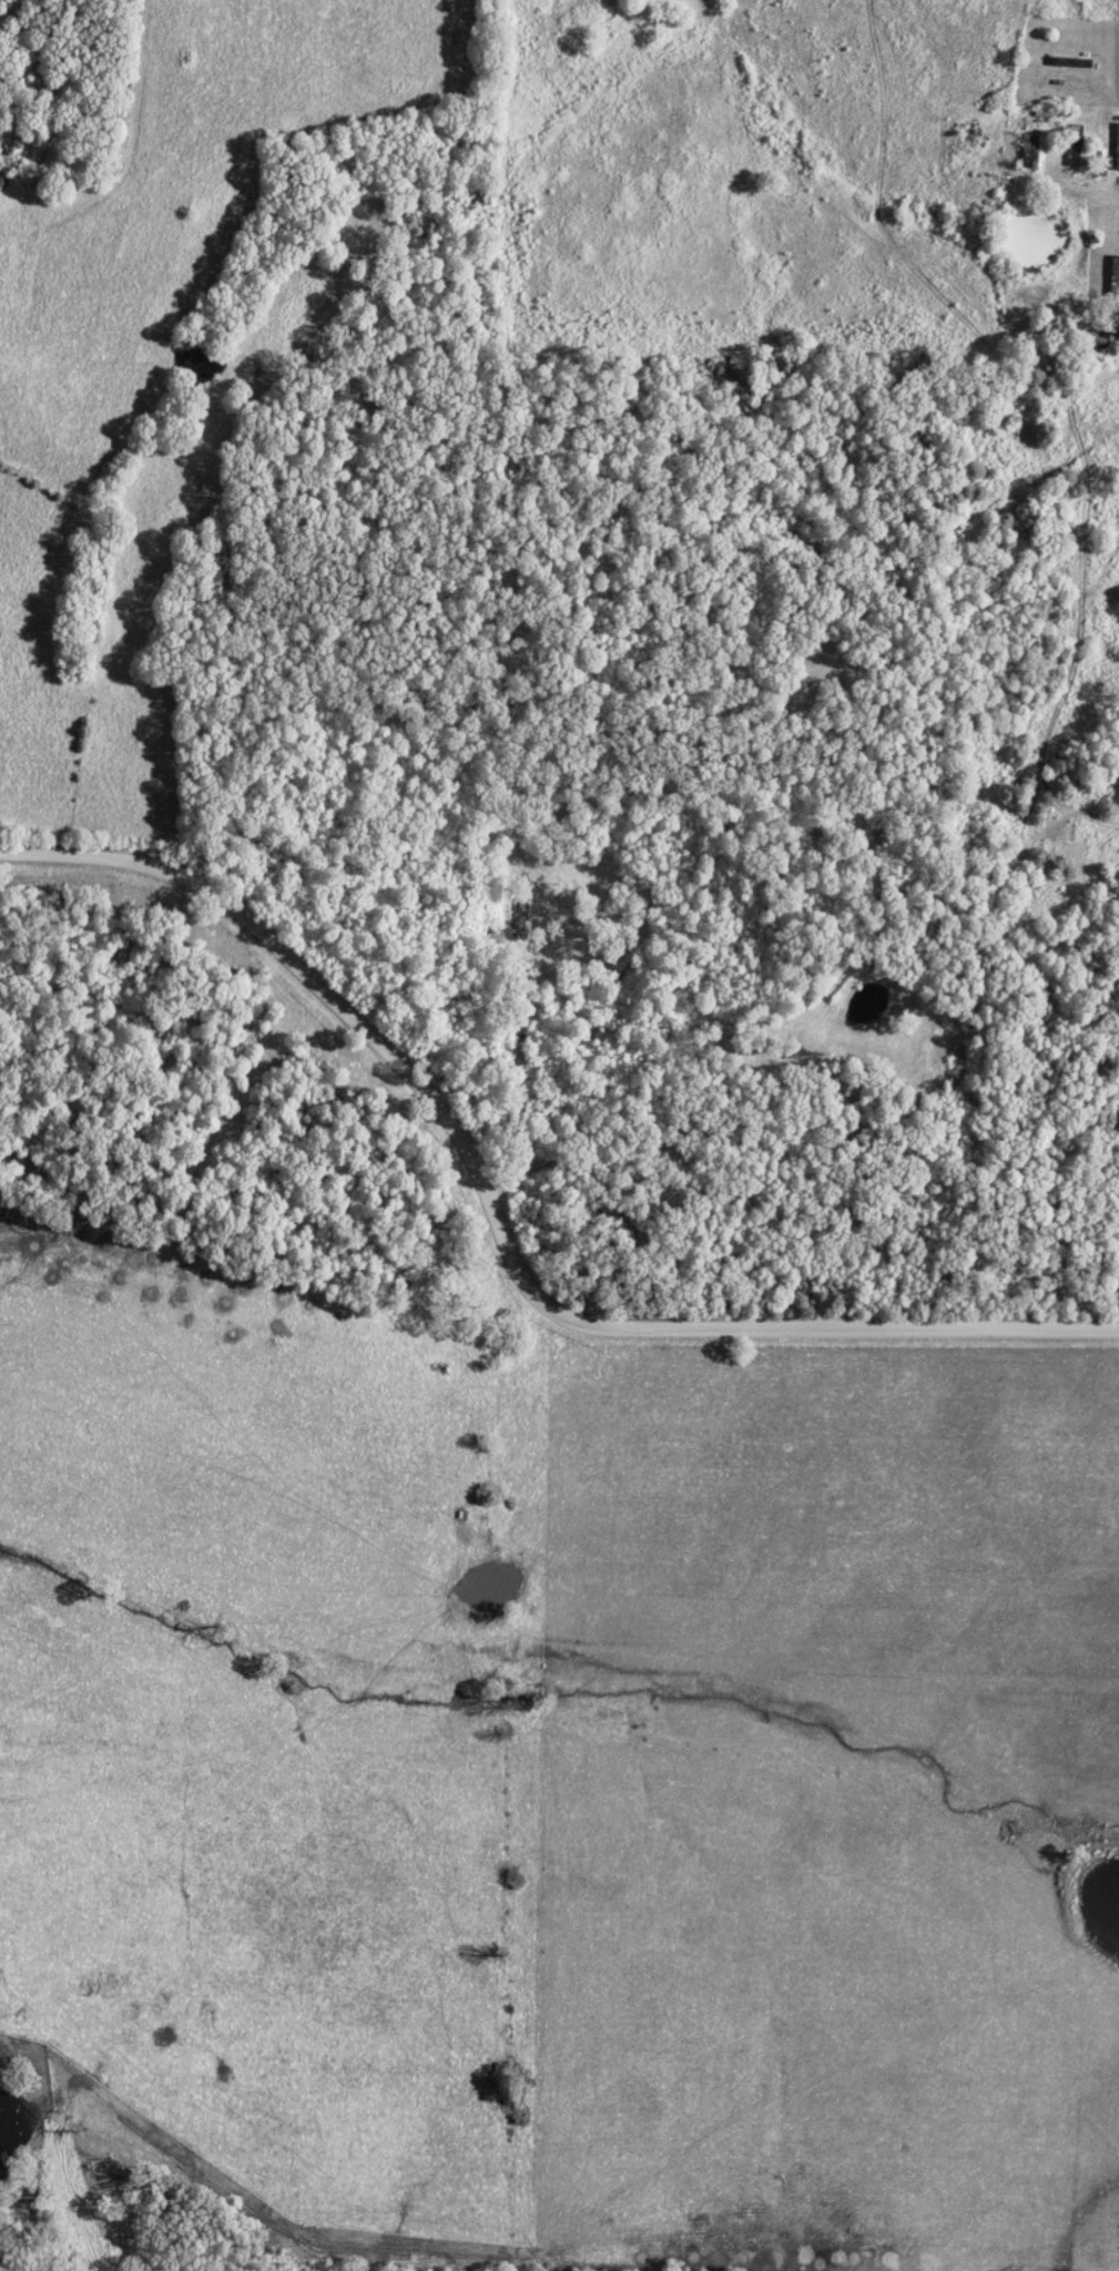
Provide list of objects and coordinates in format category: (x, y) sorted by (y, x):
road: (1116, 104)
building: (1030, 152)
road: (1106, 194)
road: (499, 1222)

